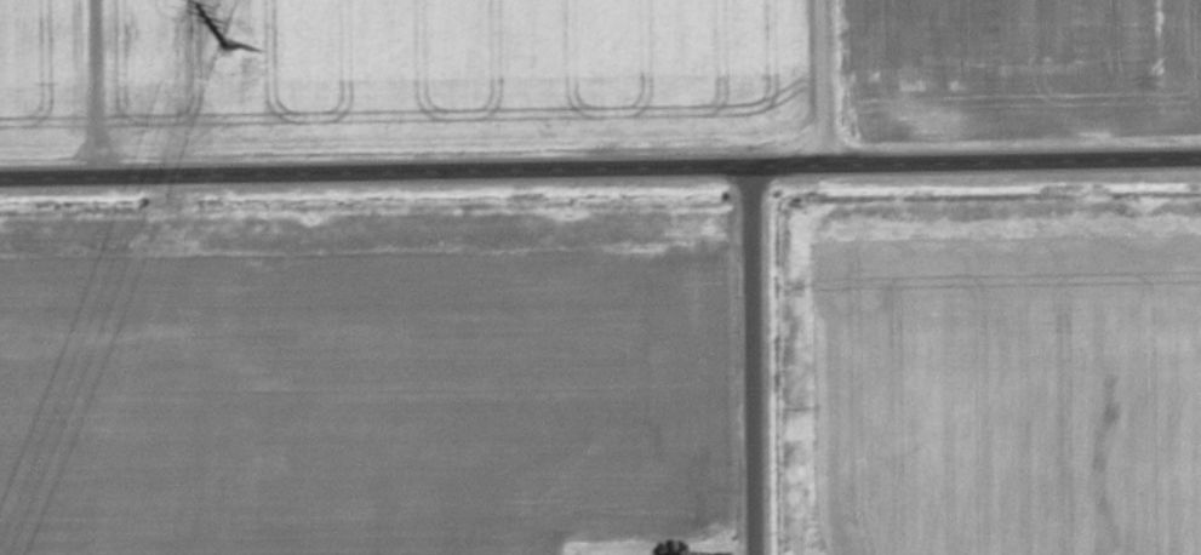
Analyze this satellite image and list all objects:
power tower: (222, 55)
road: (819, 68)
road: (85, 92)
road: (820, 154)
road: (600, 176)
road: (754, 189)
road: (756, 381)

